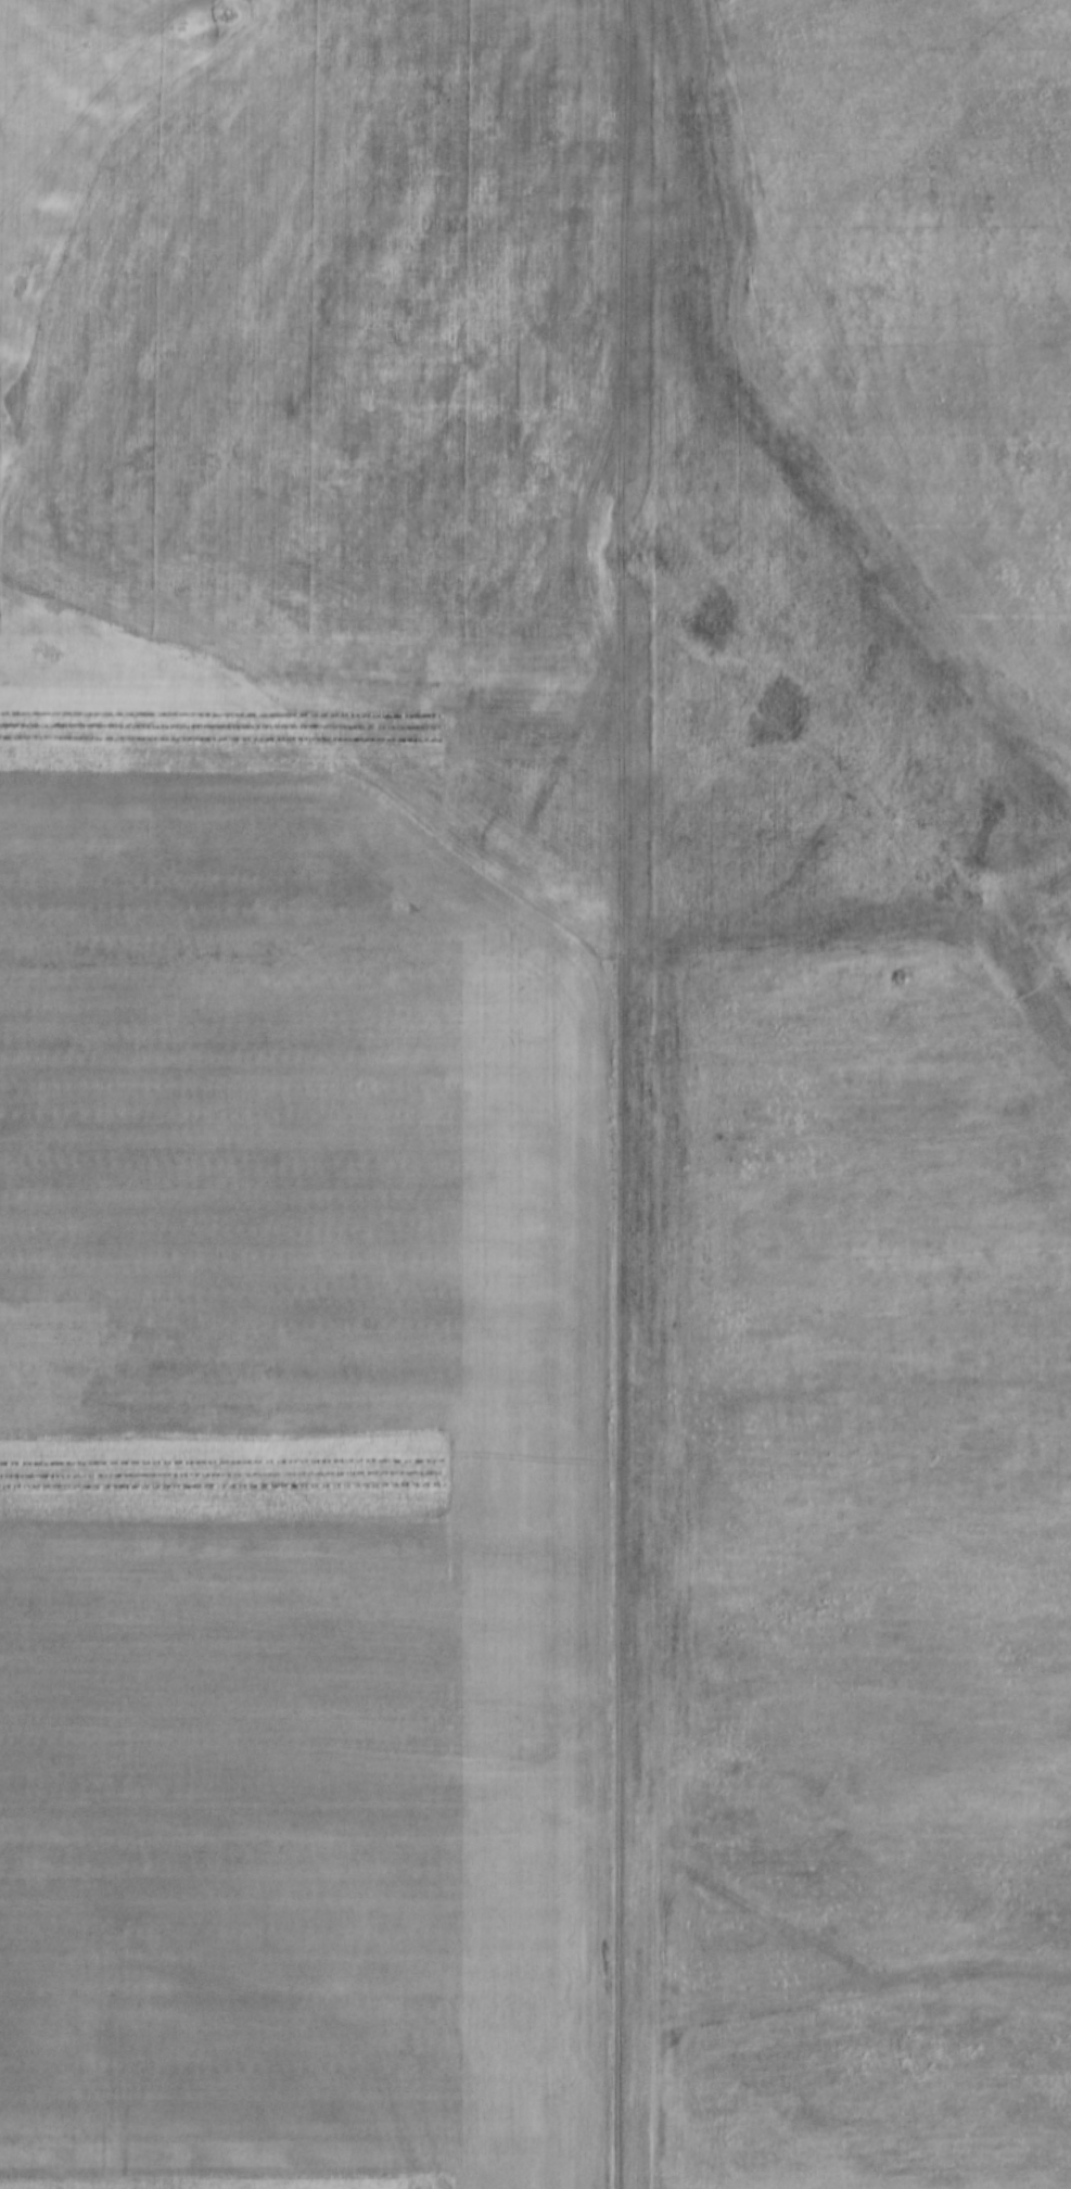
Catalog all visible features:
quarry: (548, 1059)

